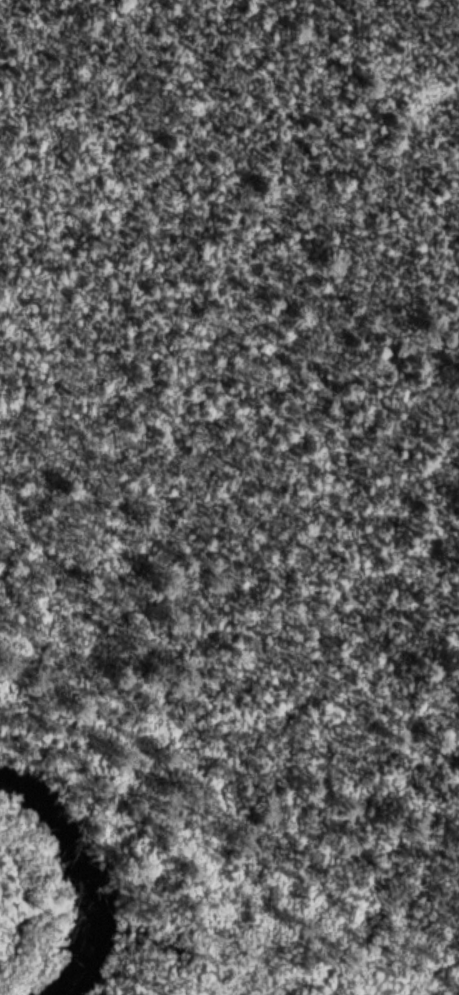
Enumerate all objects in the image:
river: (87, 877)

